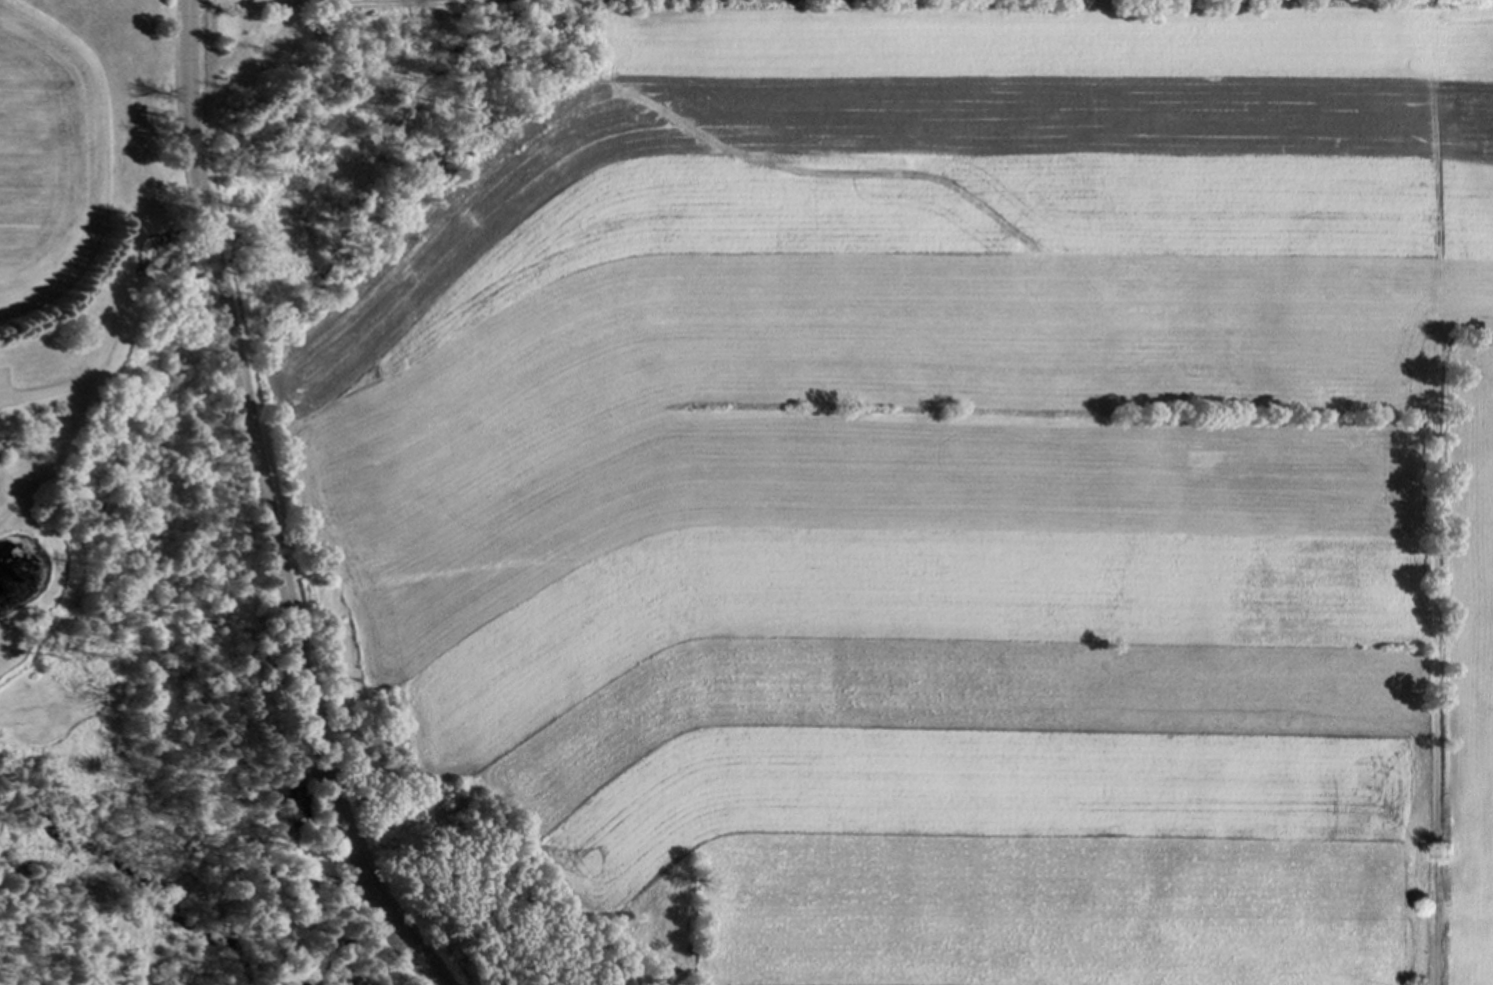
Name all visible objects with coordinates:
road: (97, 369)
road: (48, 390)
road: (268, 508)

